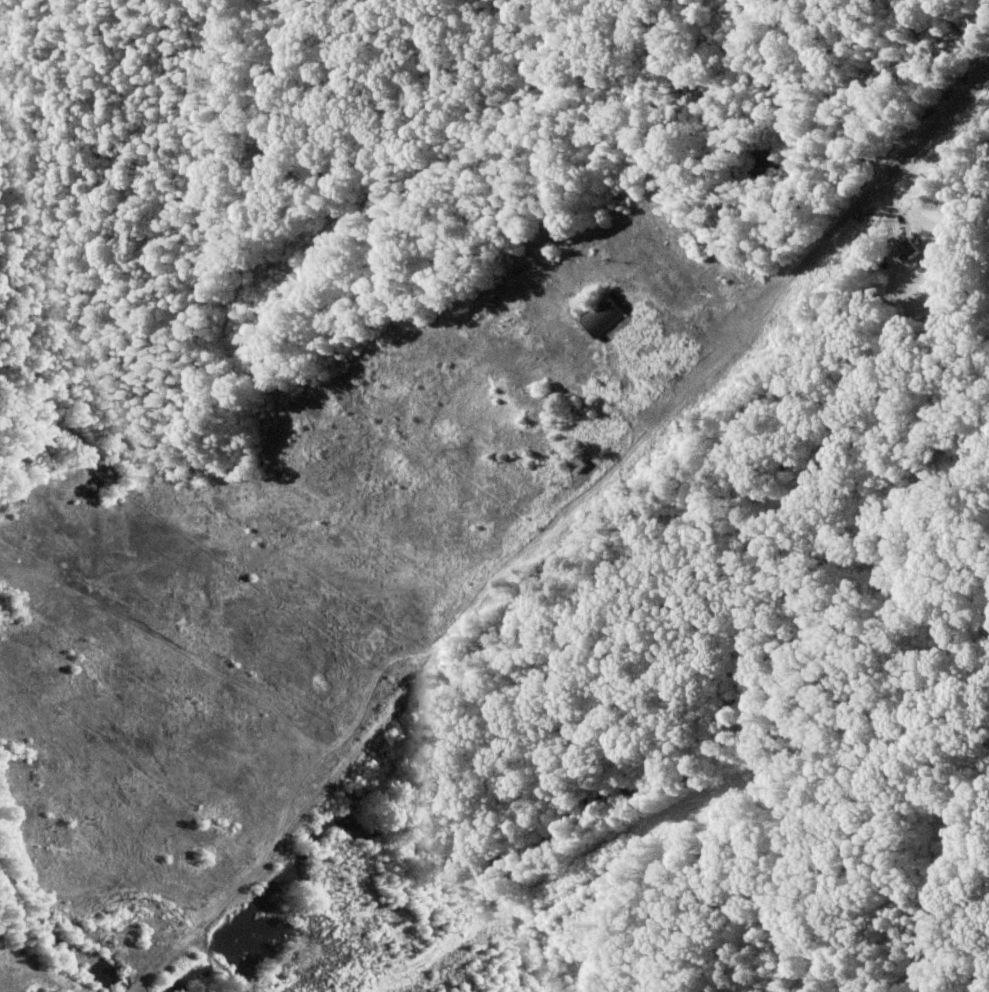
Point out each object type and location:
building: (959, 4)
building: (906, 66)
building: (908, 250)
road: (382, 287)
building: (601, 318)
road: (588, 407)
building: (572, 461)

